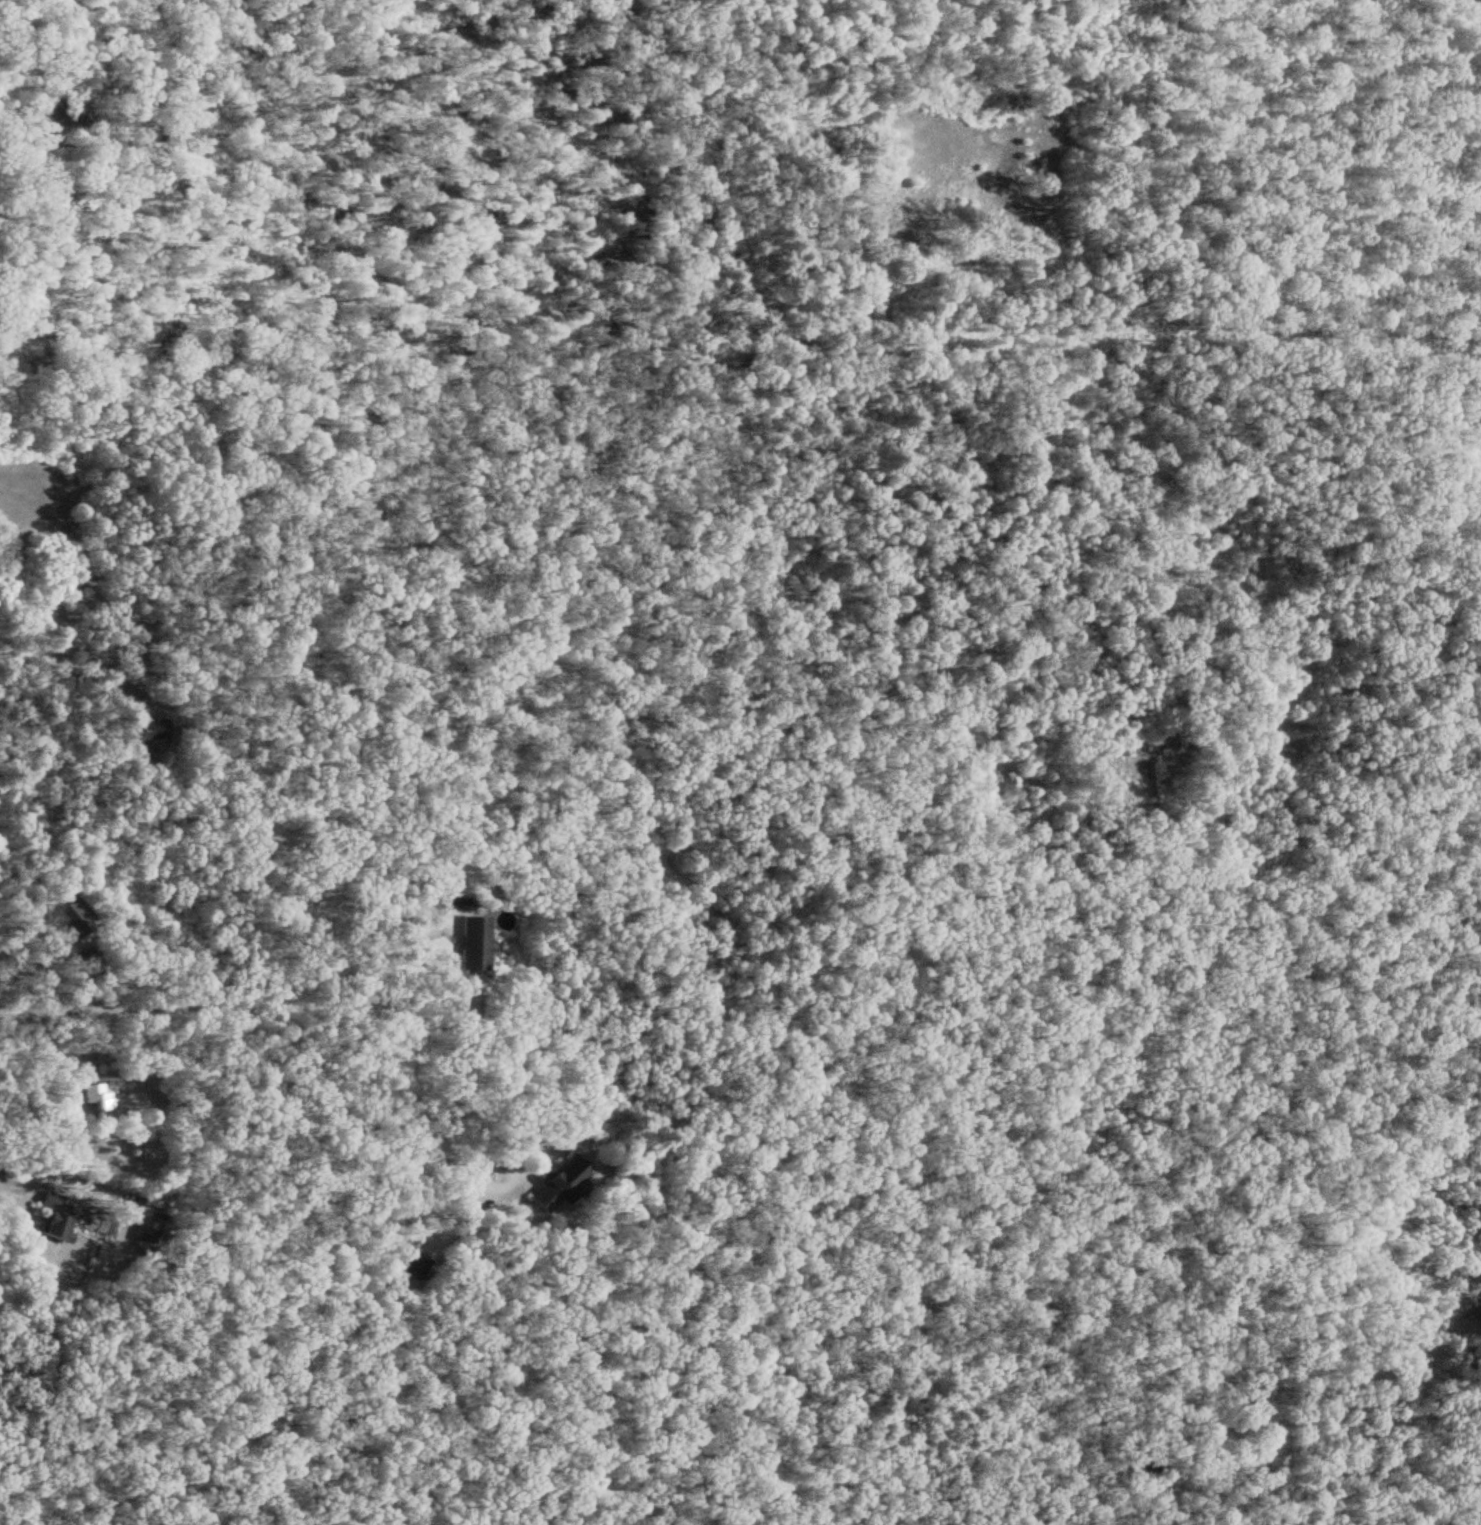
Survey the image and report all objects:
road: (47, 522)
road: (108, 650)
building: (143, 731)
building: (66, 921)
road: (367, 942)
building: (466, 944)
road: (114, 1002)
building: (101, 1105)
road: (392, 1133)
road: (11, 1180)
building: (552, 1186)
building: (45, 1217)

